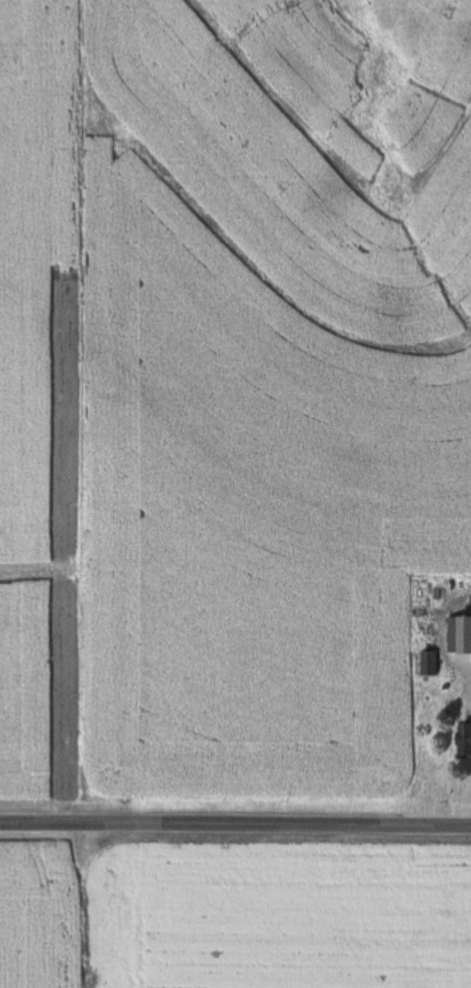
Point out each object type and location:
building: (460, 635)
building: (429, 663)
building: (452, 708)
building: (465, 742)
road: (235, 825)

